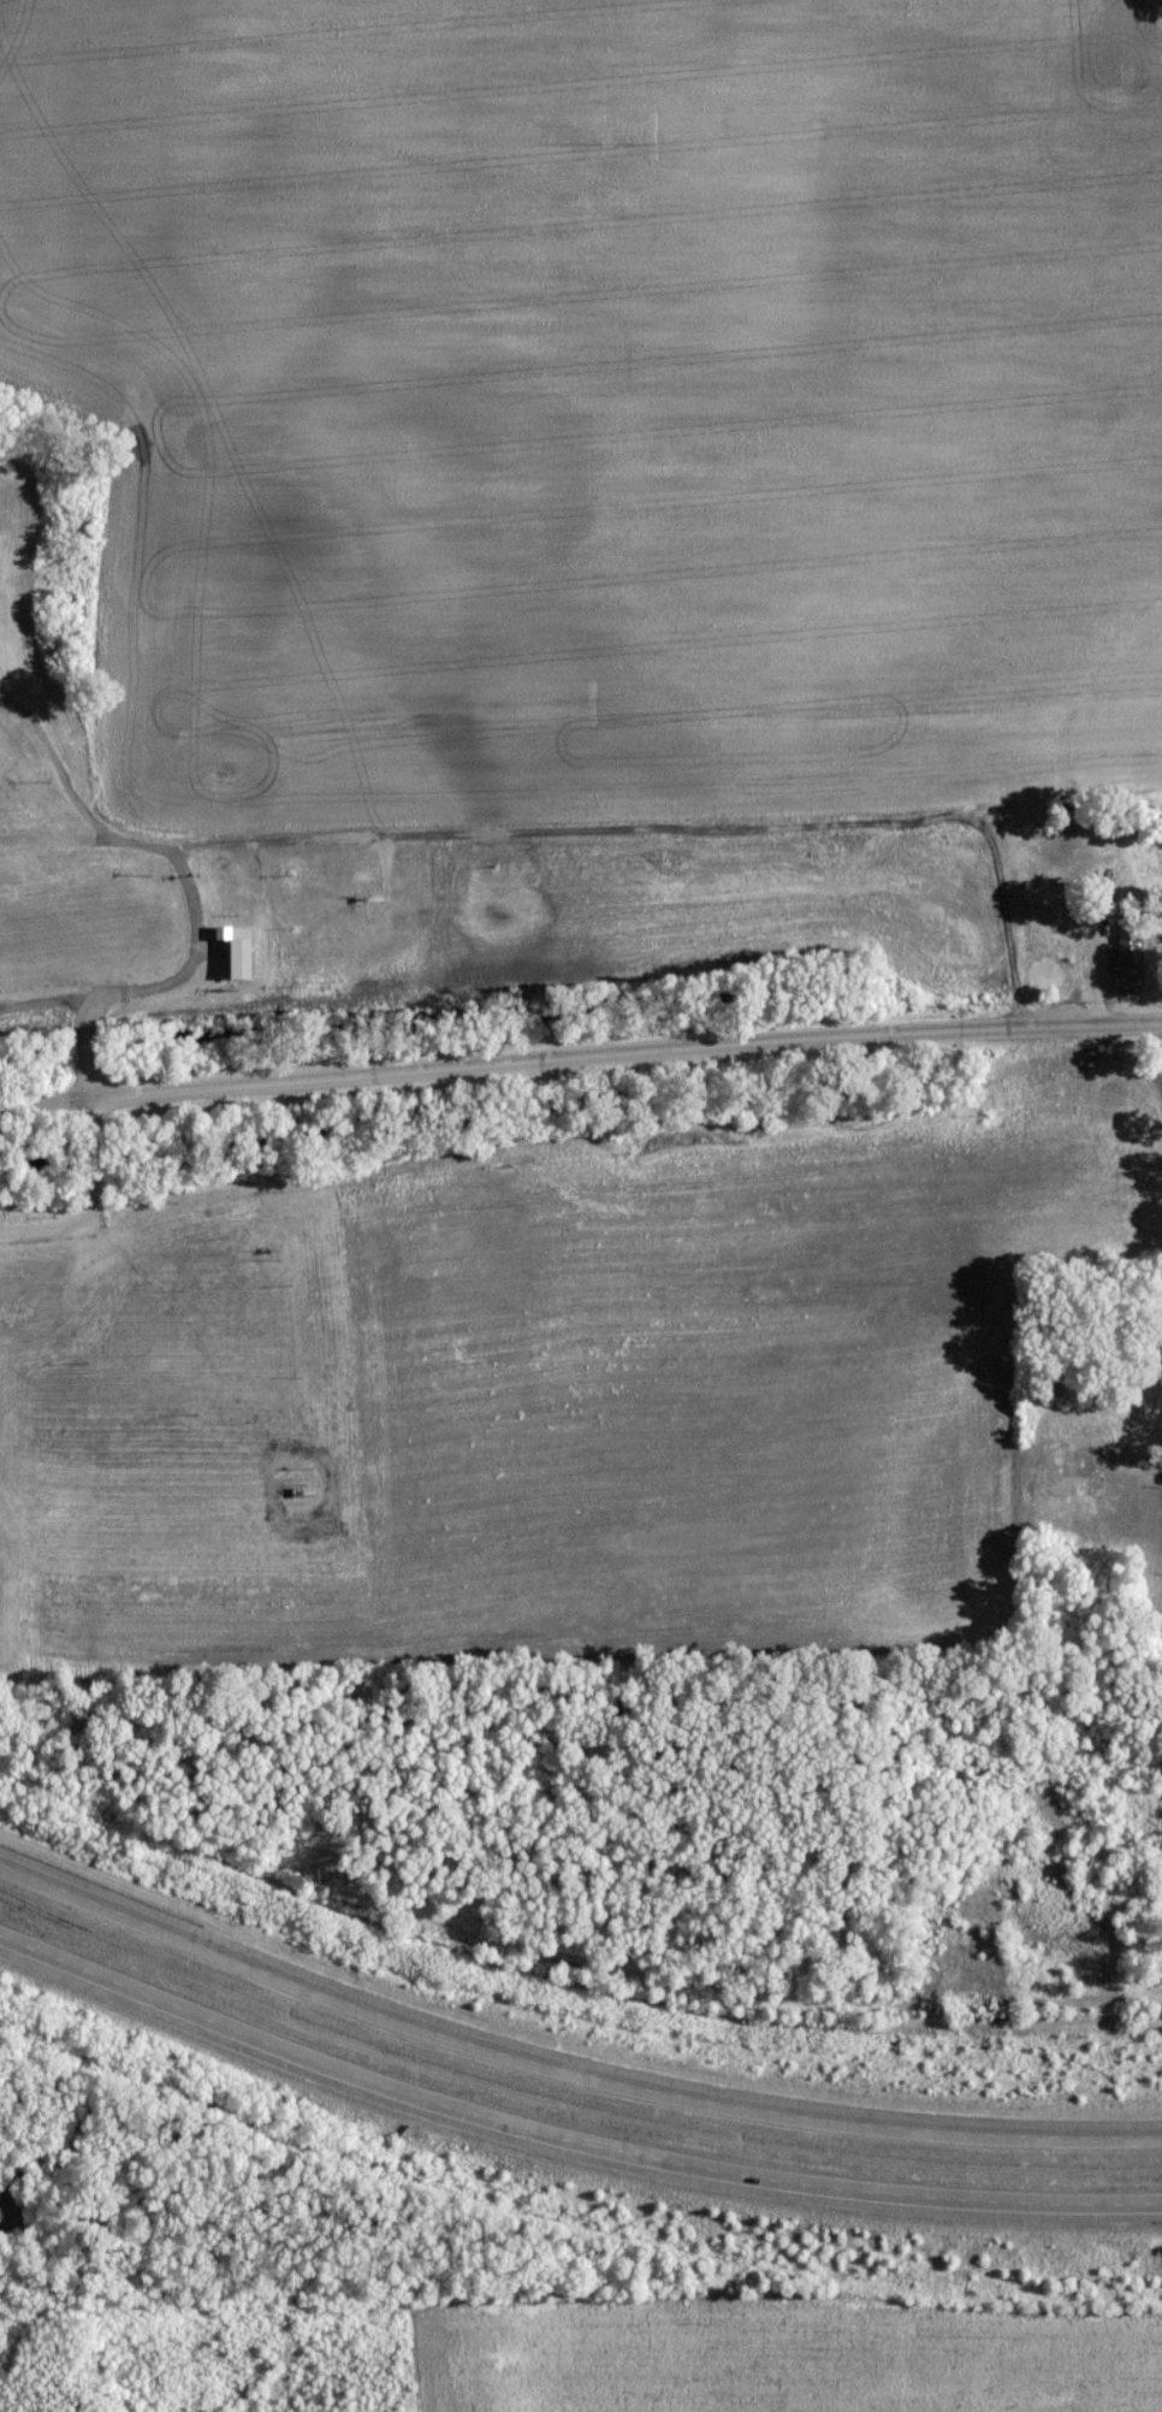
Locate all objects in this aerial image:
building: (220, 938)
building: (237, 965)
building: (1125, 974)
road: (177, 981)
road: (47, 1001)
road: (623, 1054)
building: (1099, 1474)
road: (565, 2073)
road: (565, 2144)

